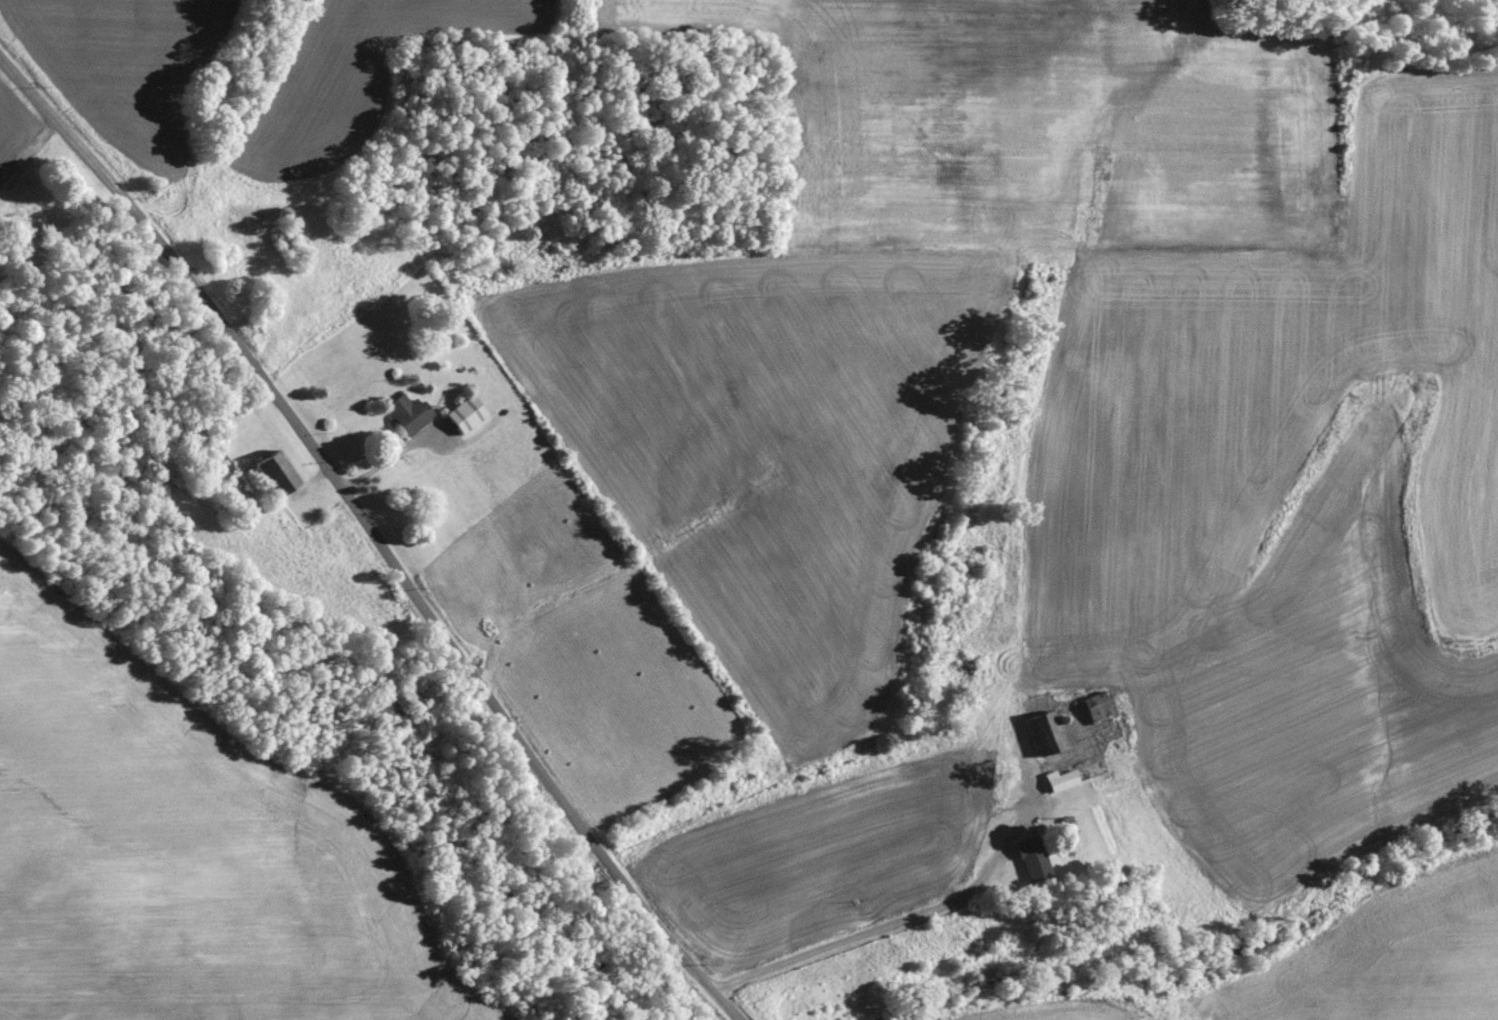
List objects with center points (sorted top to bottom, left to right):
building: (403, 412)
building: (461, 414)
building: (267, 469)
road: (376, 534)
building: (1093, 705)
building: (1055, 778)
building: (1027, 859)
road: (926, 911)

